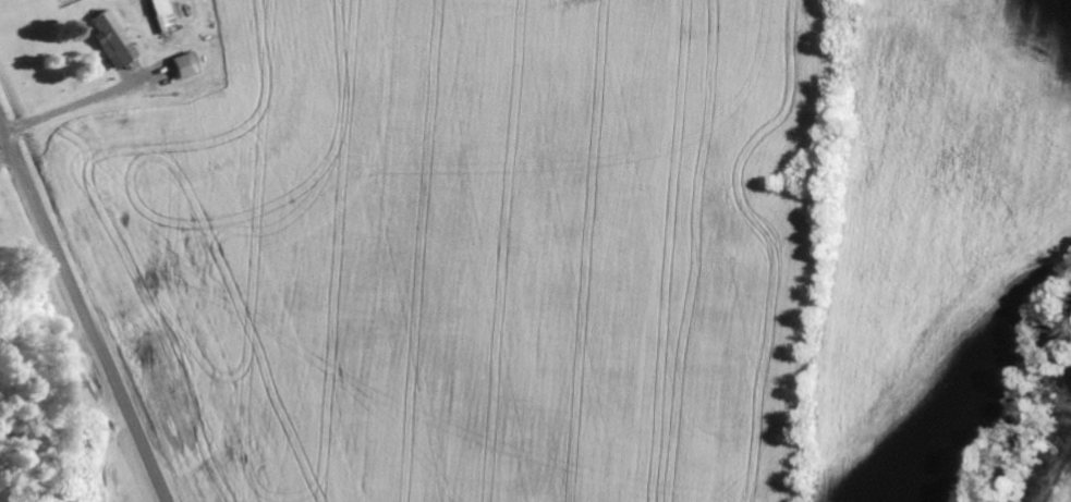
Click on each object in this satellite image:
building: (161, 17)
building: (111, 41)
building: (184, 68)
road: (82, 311)

